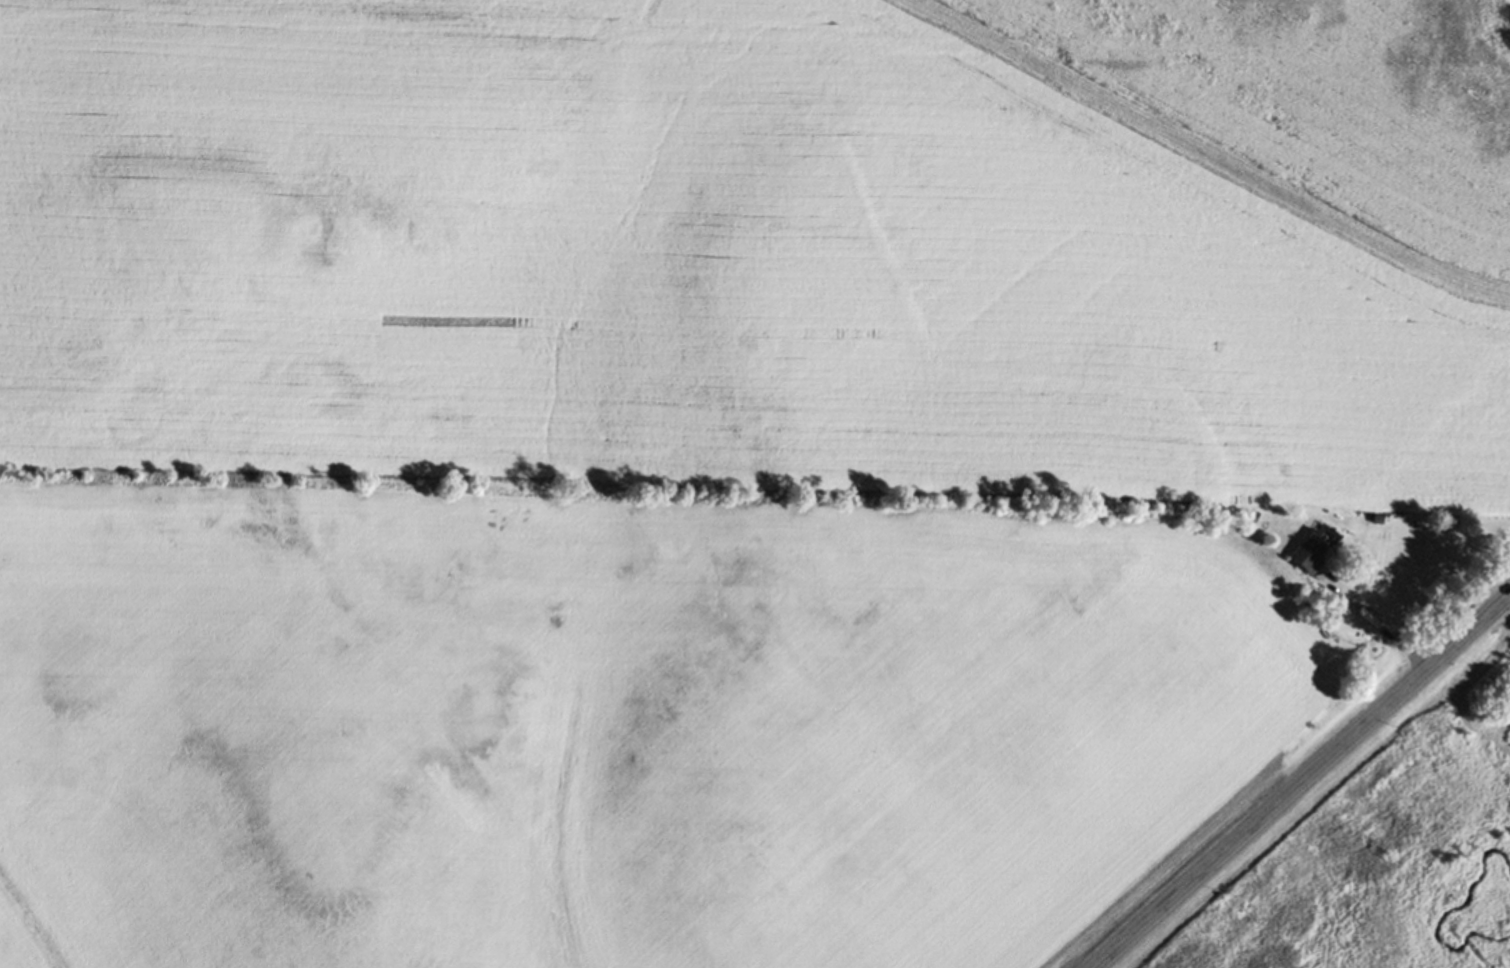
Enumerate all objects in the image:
building: (1377, 518)
building: (1310, 549)
road: (1379, 627)
road: (1302, 780)

